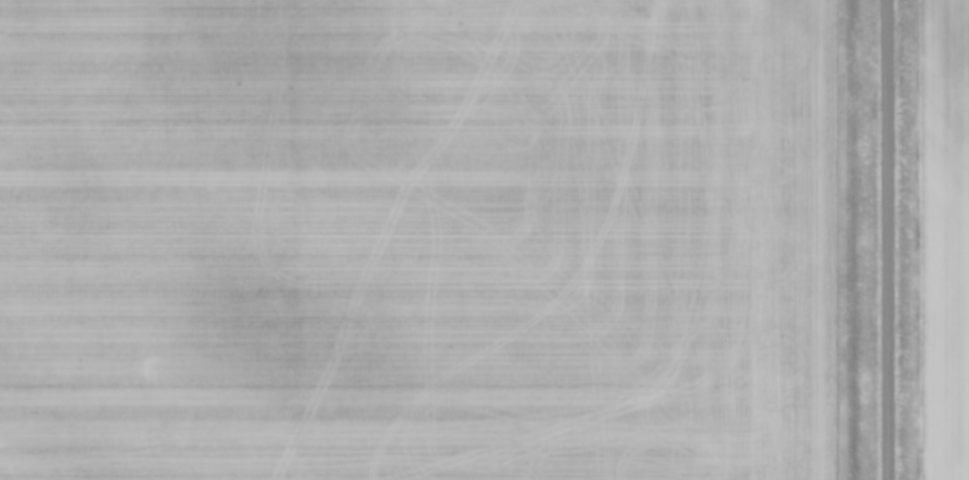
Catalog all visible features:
road: (891, 240)

